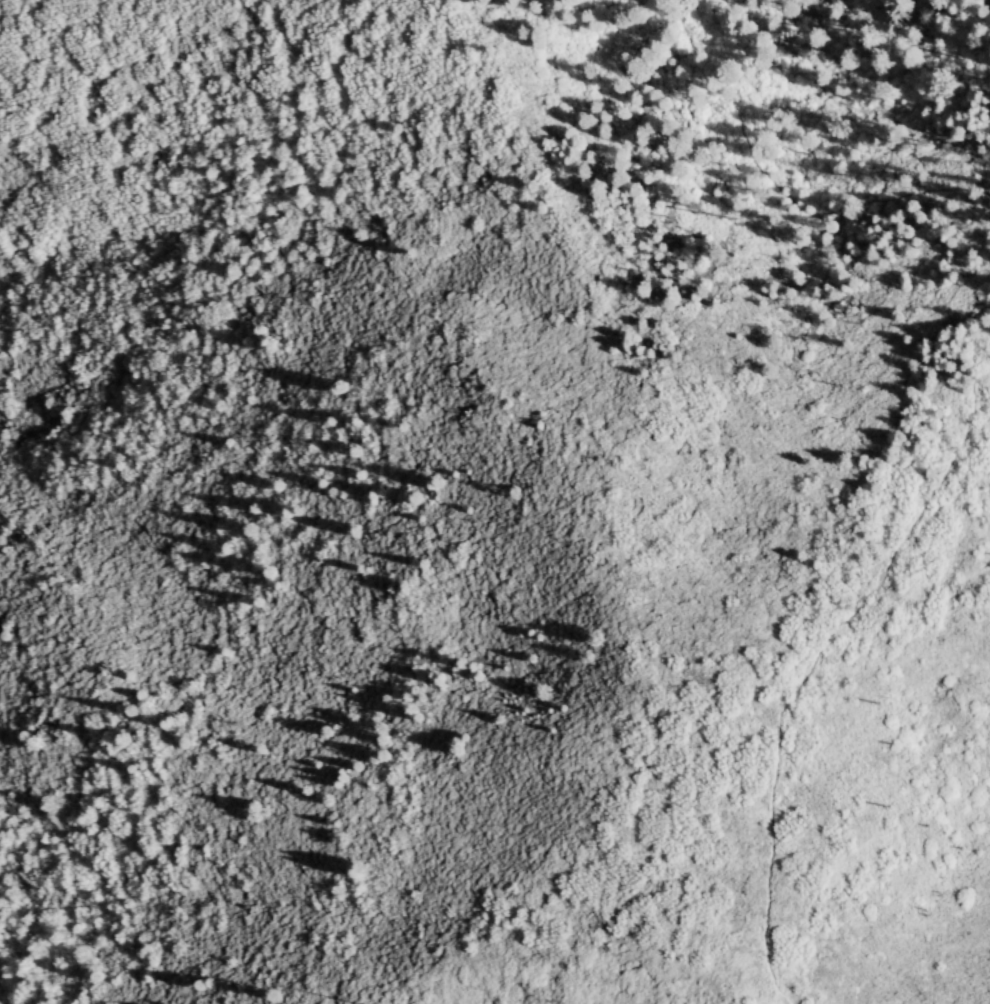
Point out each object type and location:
road: (779, 188)
road: (831, 635)

